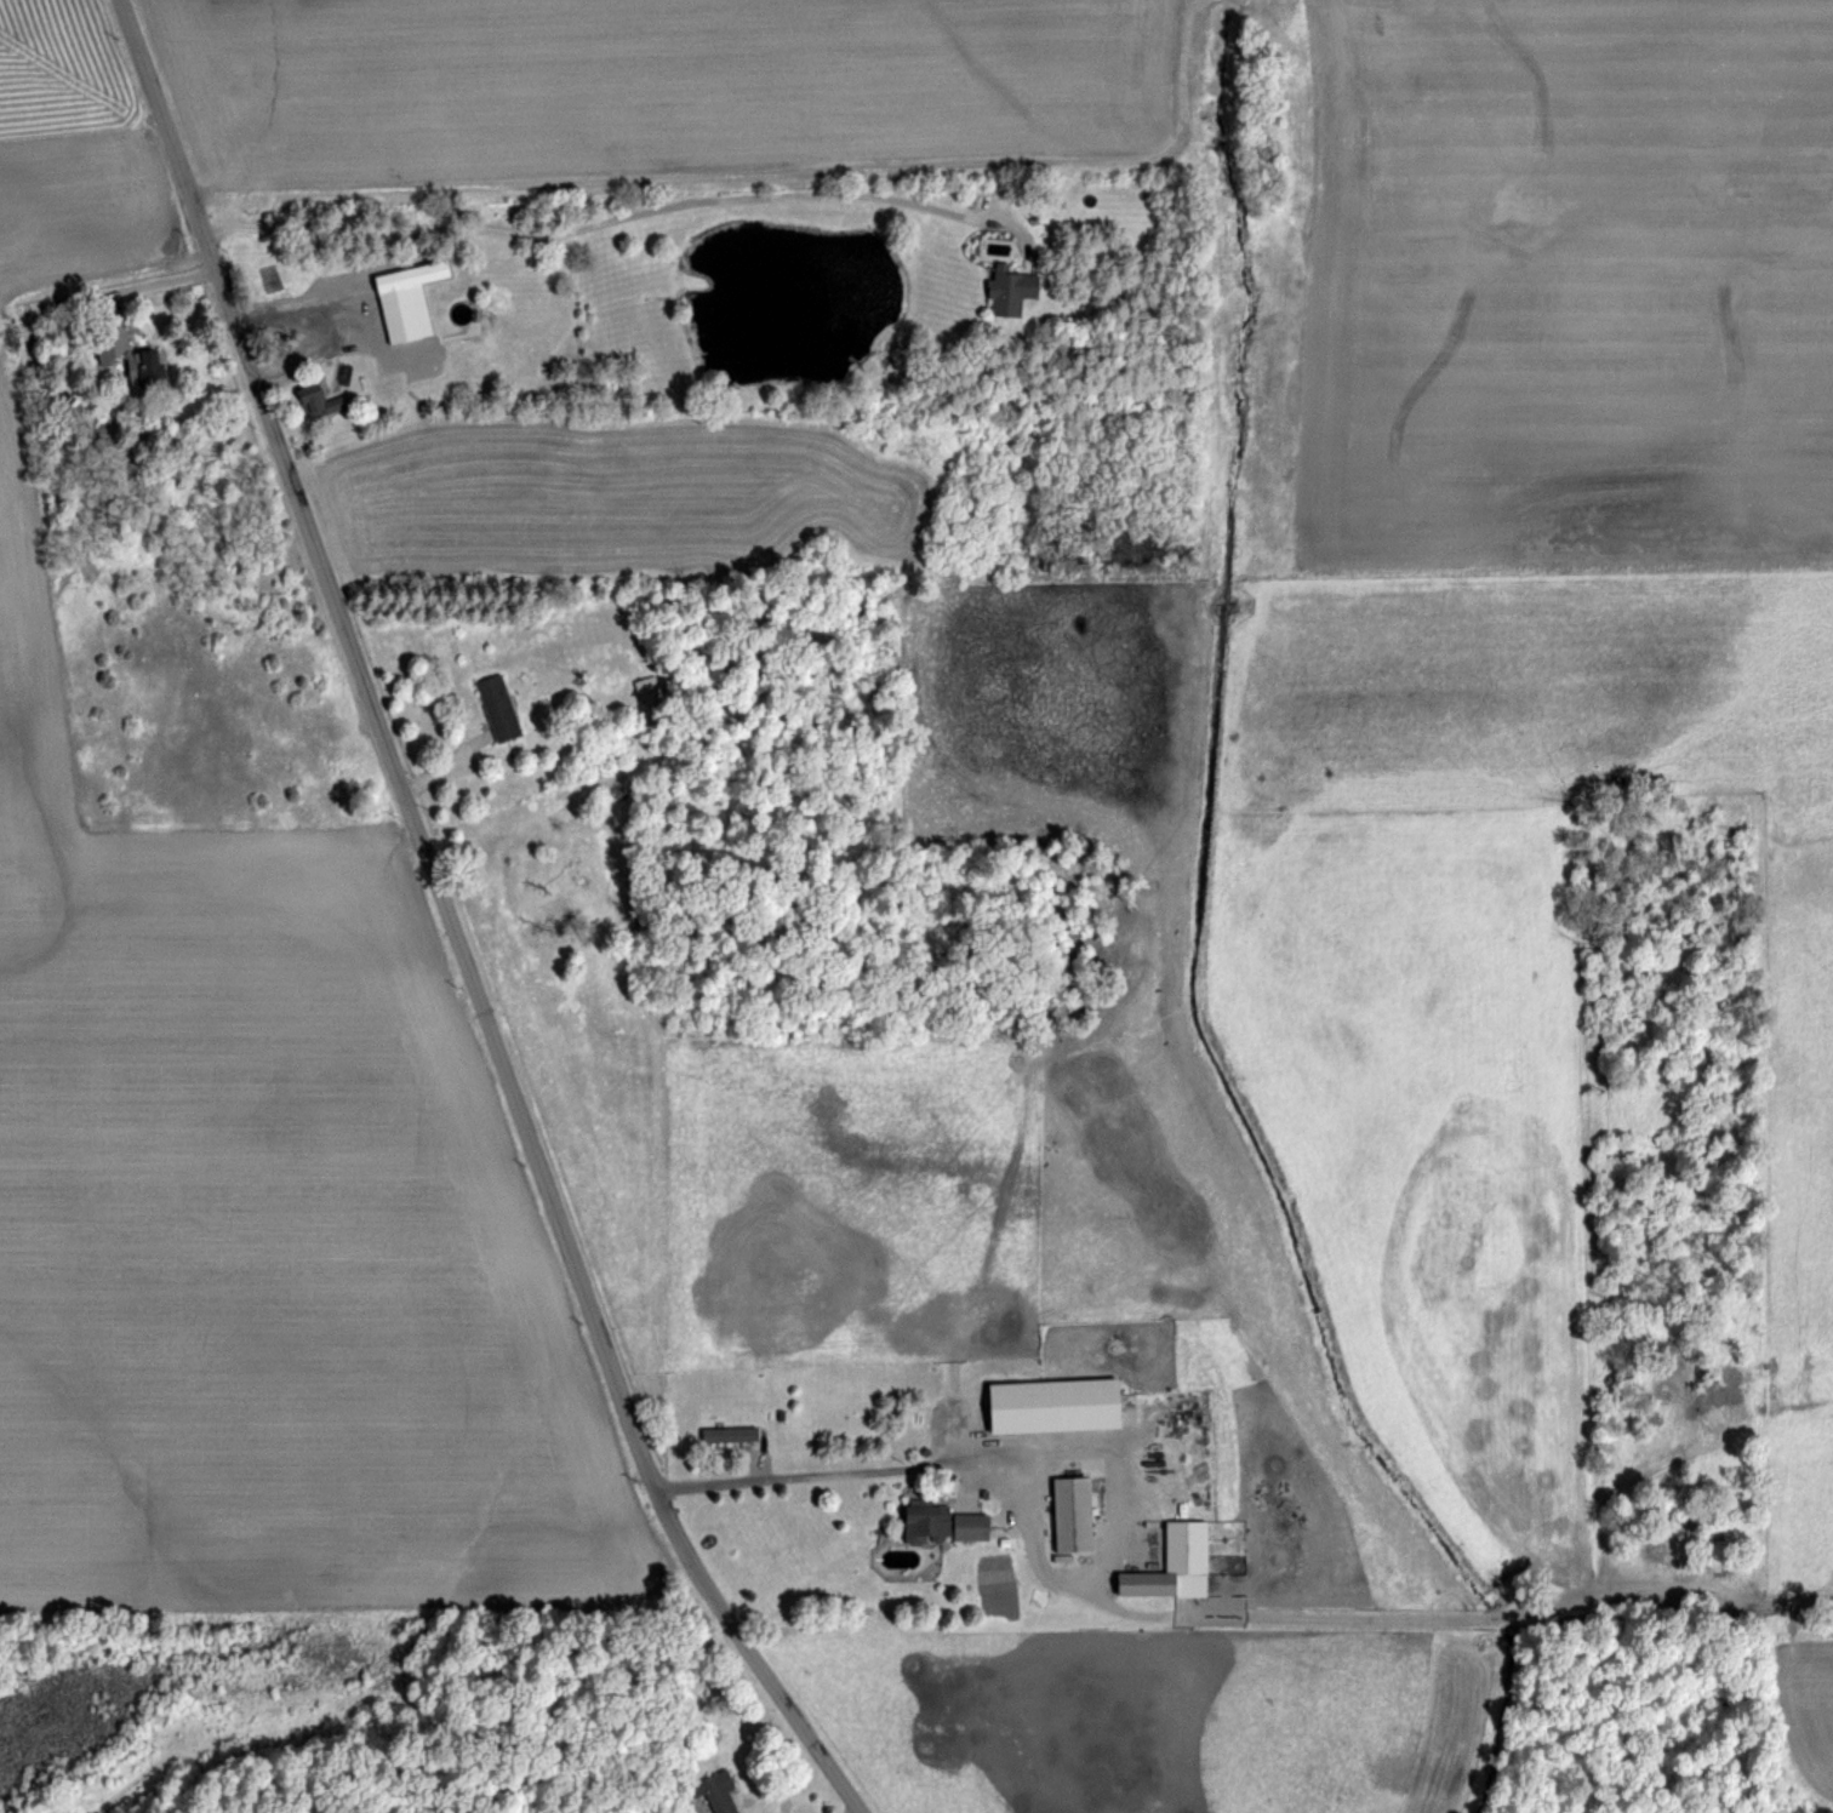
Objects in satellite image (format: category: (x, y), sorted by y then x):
road: (611, 218)
building: (1001, 287)
building: (400, 297)
building: (122, 358)
building: (338, 371)
building: (310, 399)
building: (641, 685)
building: (492, 705)
road: (445, 760)
crop: (1140, 831)
road: (457, 923)
crop: (255, 1089)
building: (1046, 1405)
building: (726, 1434)
road: (800, 1472)
building: (1067, 1511)
building: (919, 1520)
building: (963, 1522)
building: (1164, 1561)
building: (713, 1791)
road: (855, 1809)

